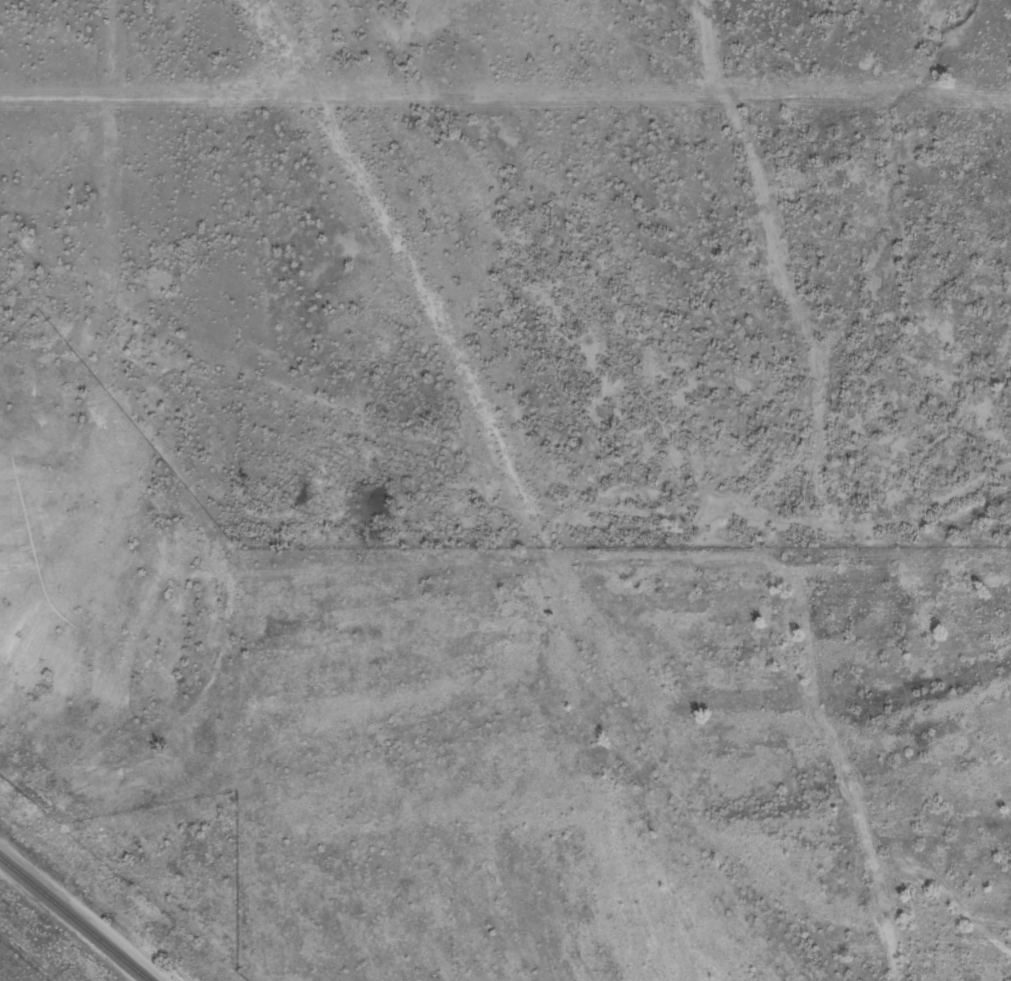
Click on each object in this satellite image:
railway: (74, 919)

